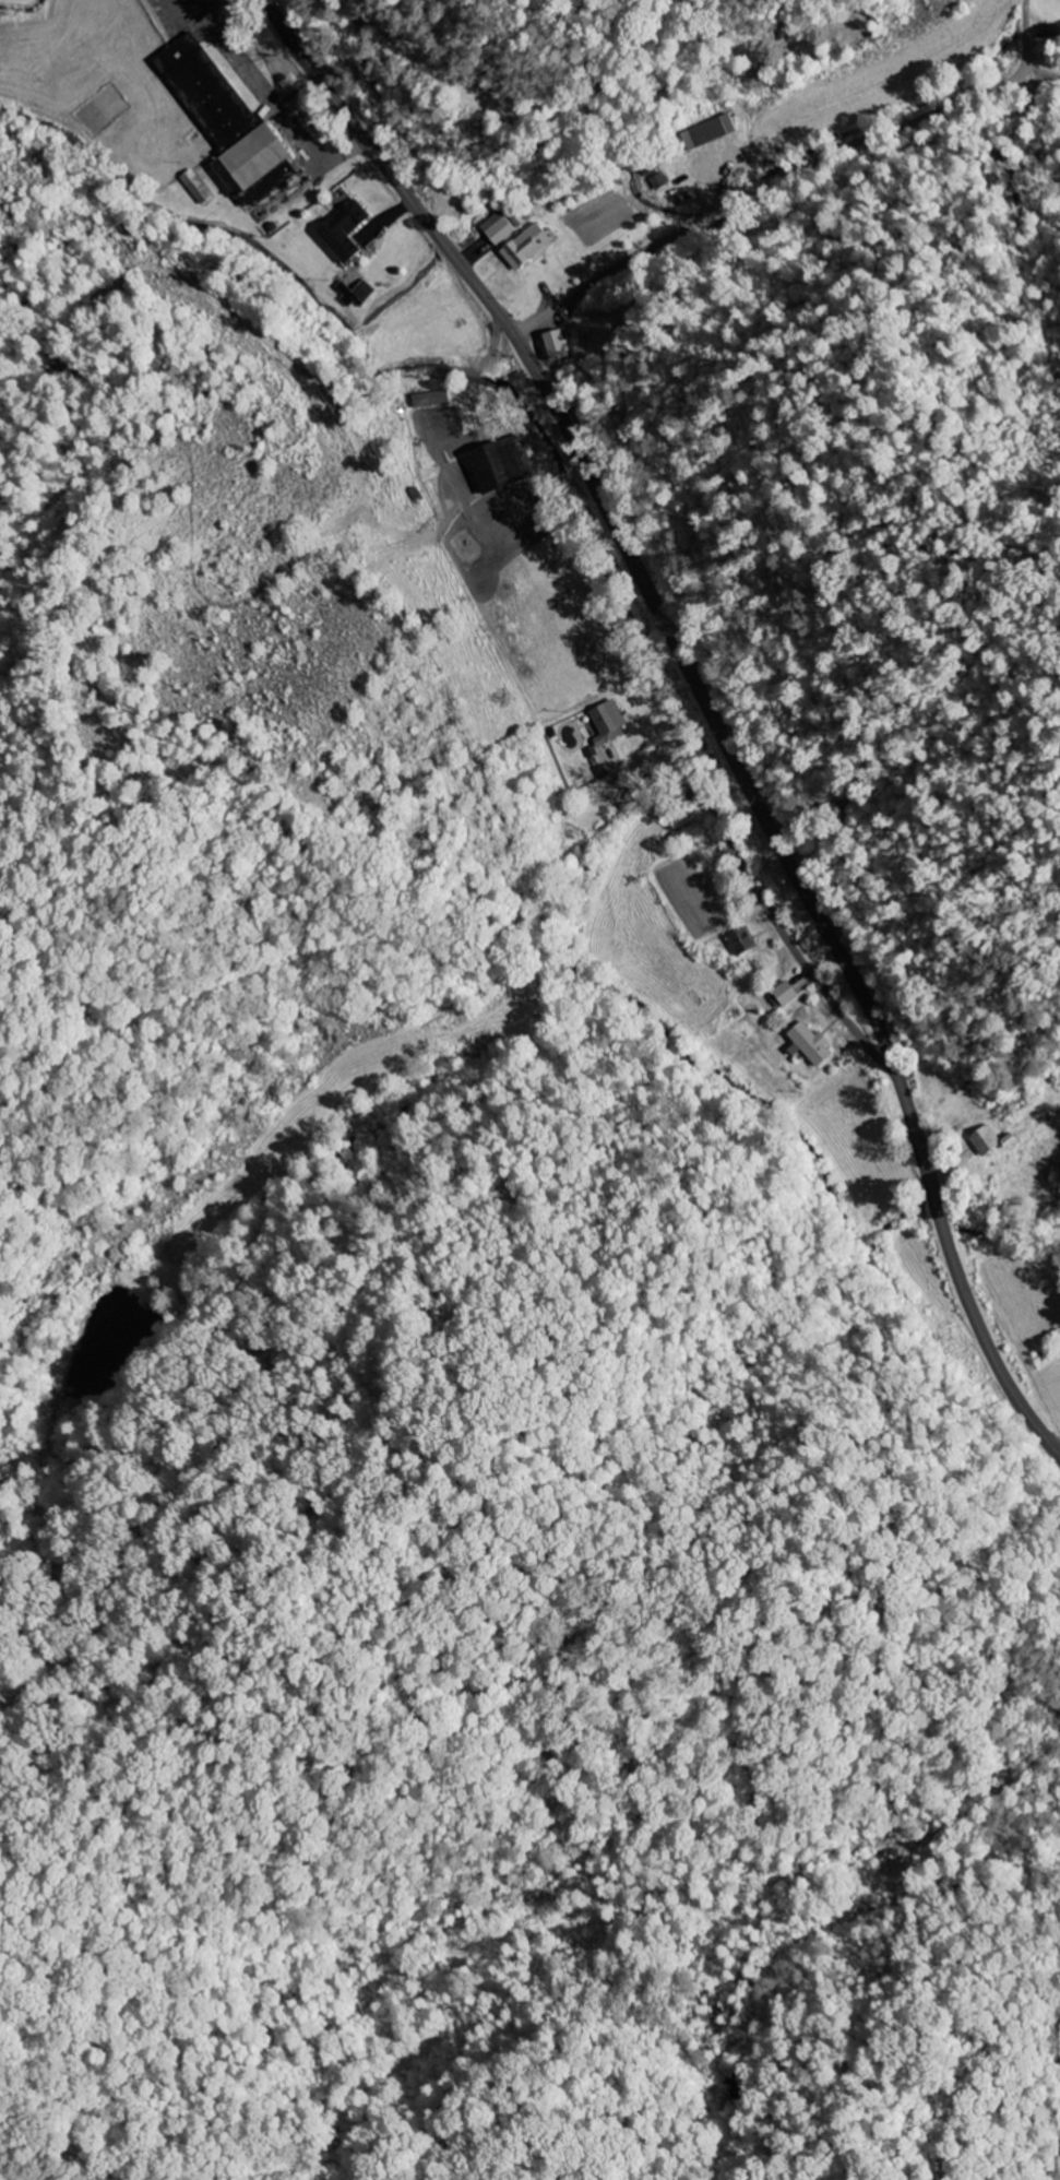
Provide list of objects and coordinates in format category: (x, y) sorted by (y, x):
road: (993, 46)
road: (380, 87)
building: (229, 117)
building: (707, 132)
road: (783, 173)
building: (348, 232)
building: (519, 240)
building: (359, 294)
building: (556, 346)
road: (241, 359)
building: (508, 466)
road: (706, 702)
building: (607, 723)
building: (739, 941)
building: (779, 996)
building: (807, 1044)
building: (988, 1141)
road: (867, 1523)
road: (819, 1874)

